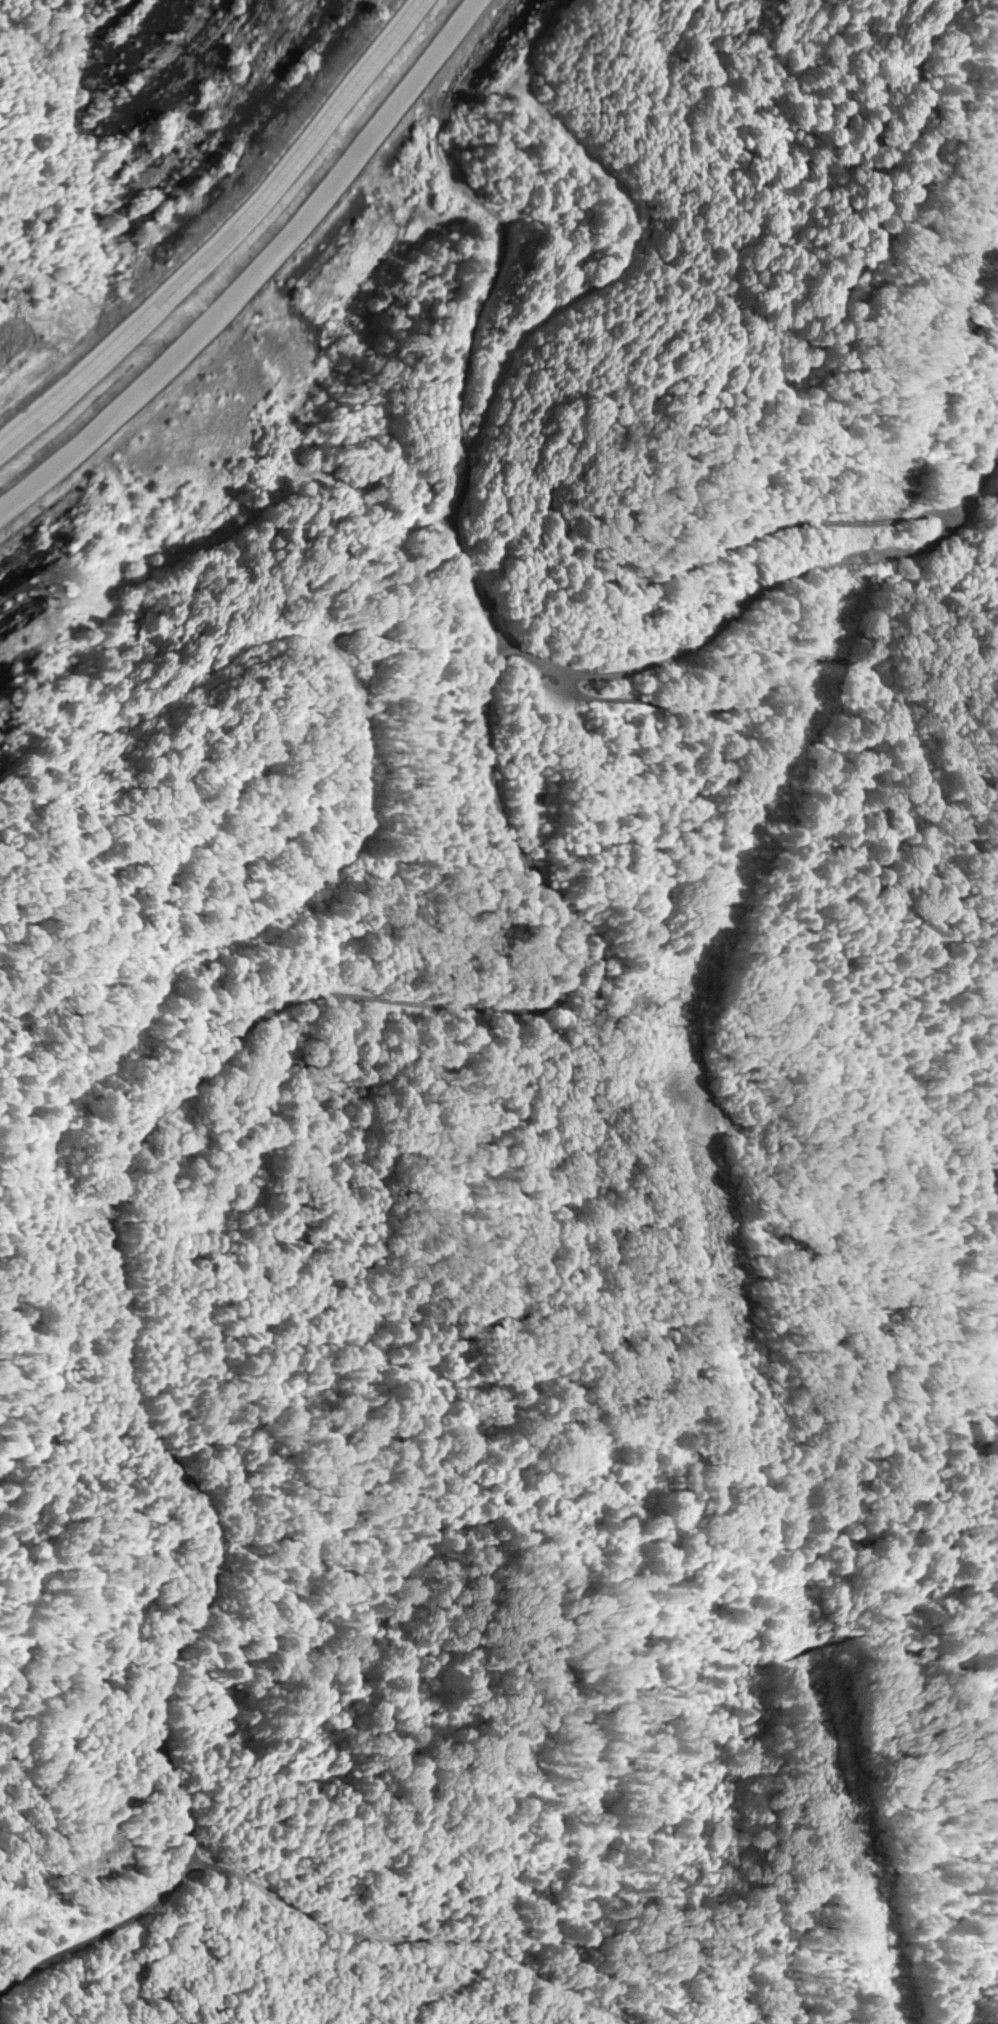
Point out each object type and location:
road: (218, 237)
road: (243, 265)
quarry: (38, 600)

